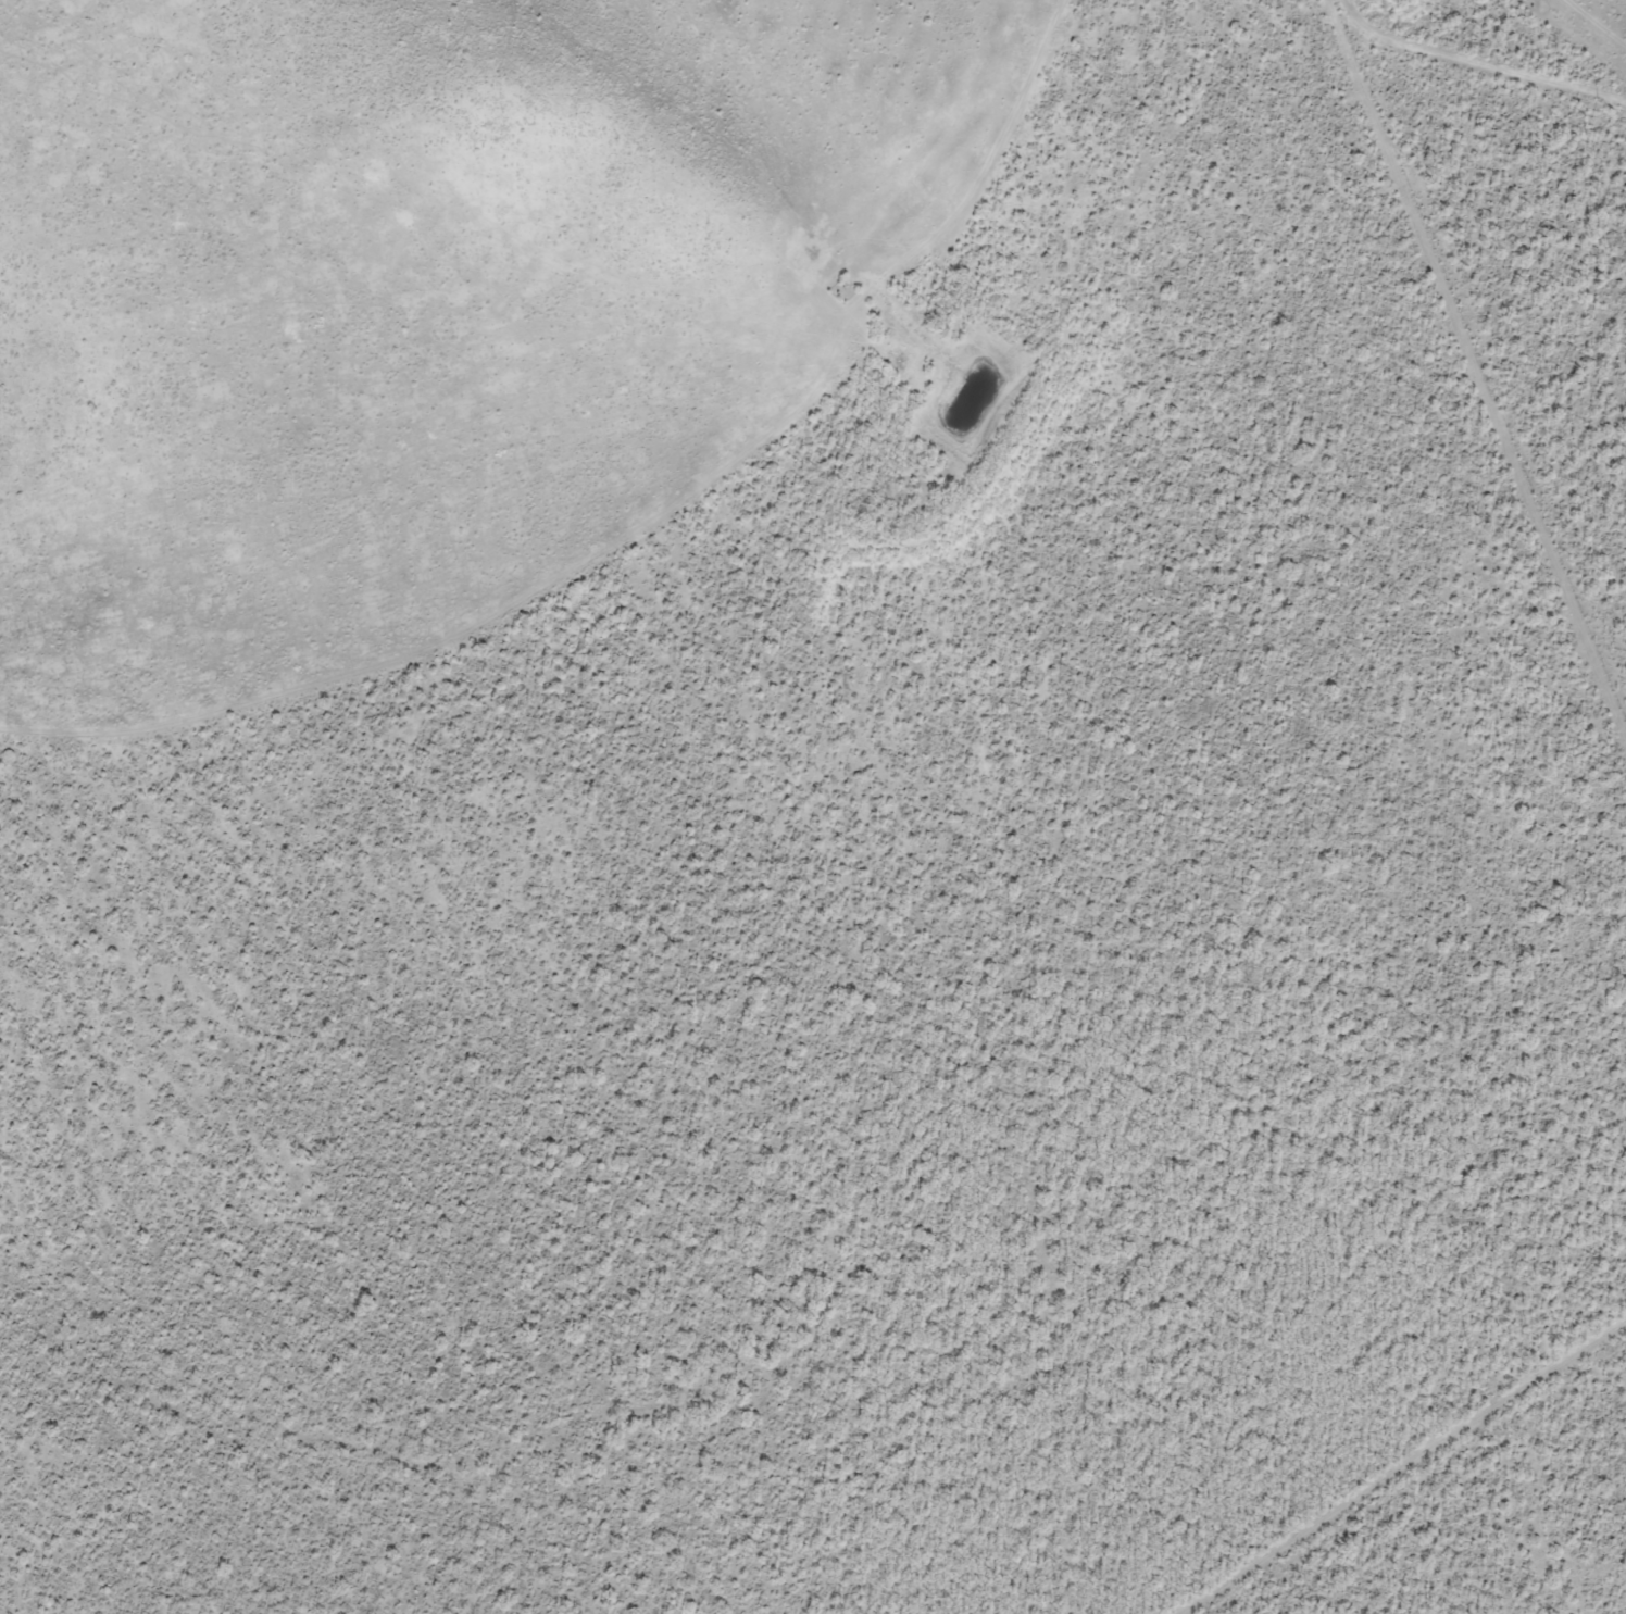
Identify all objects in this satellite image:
road: (297, 139)
road: (541, 201)

